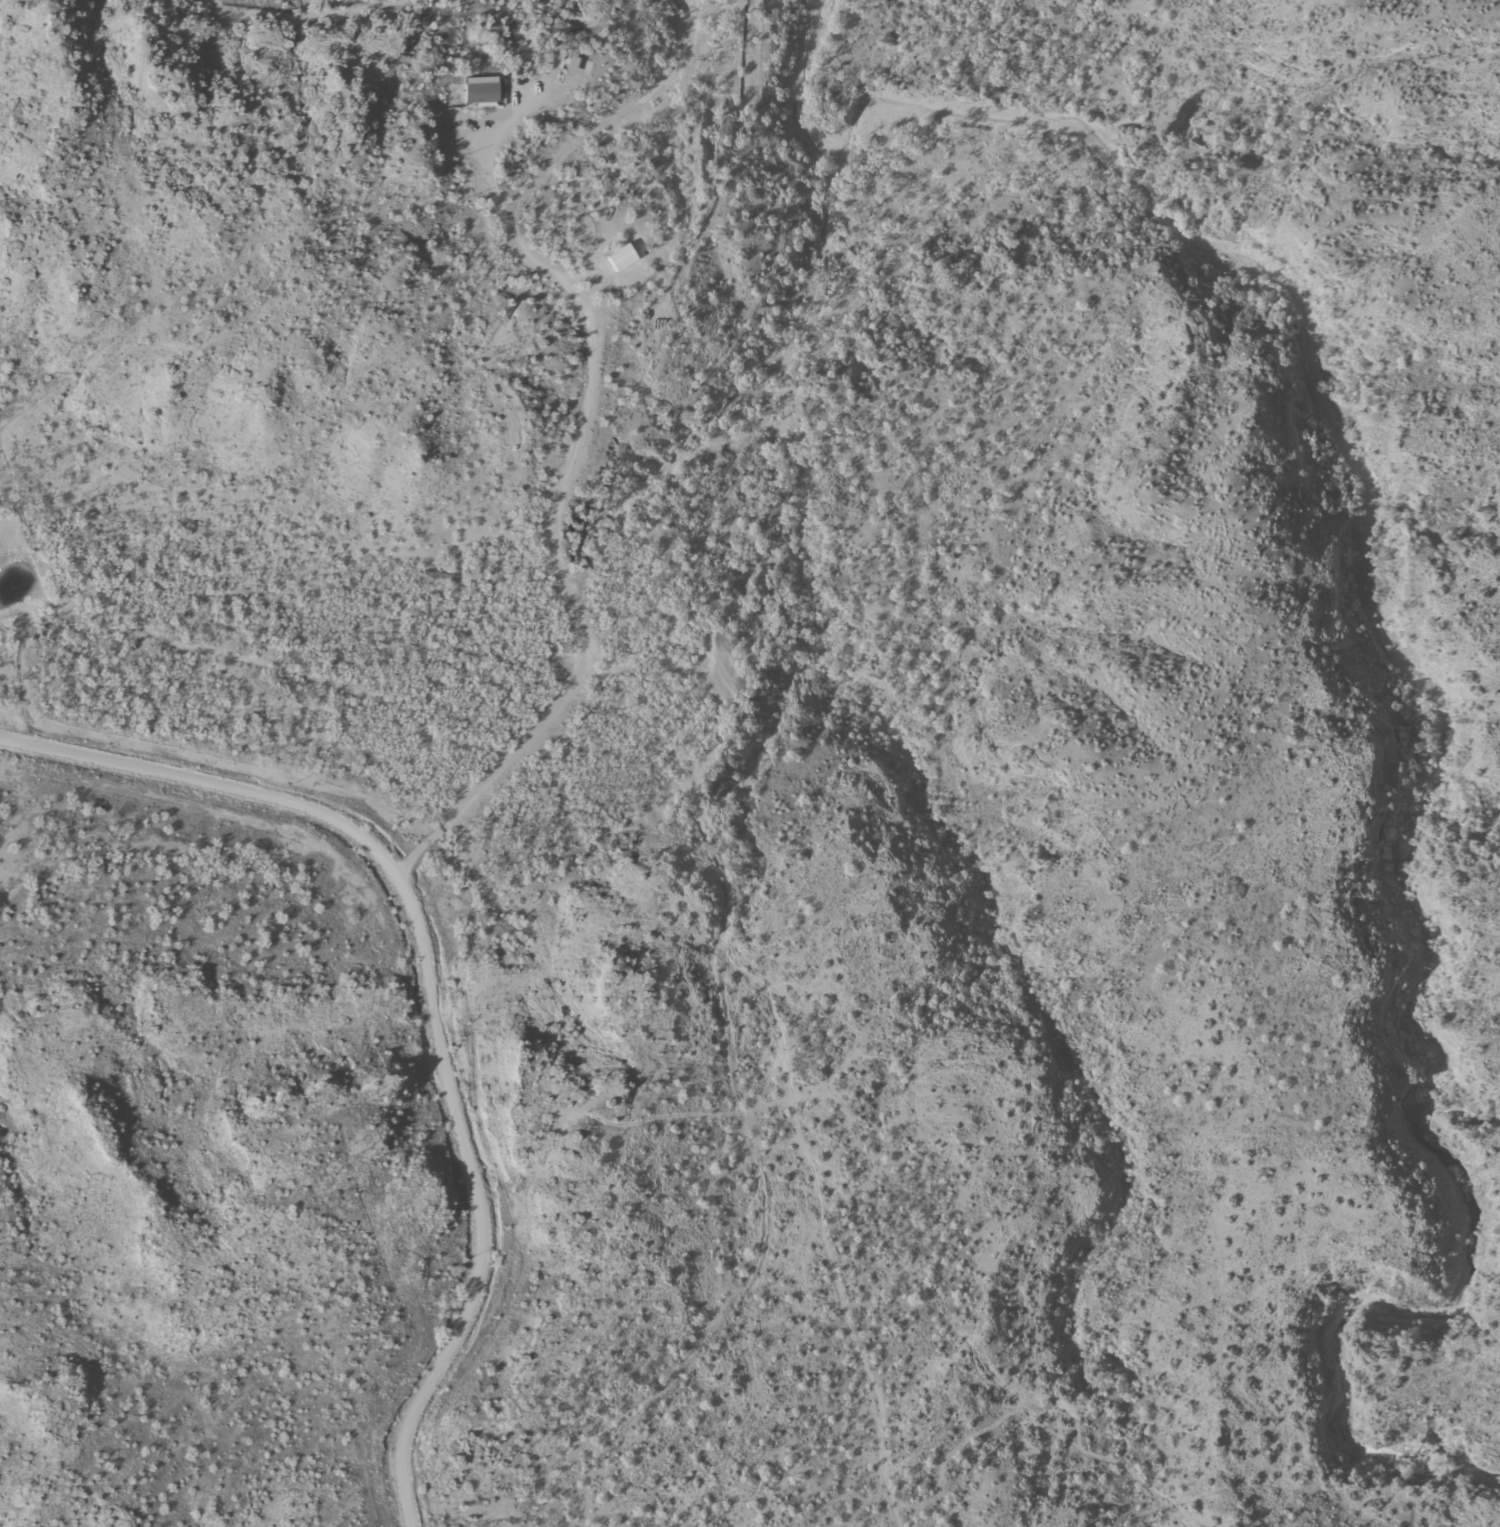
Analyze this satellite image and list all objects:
building: (568, 65)
building: (479, 92)
road: (575, 337)
road: (313, 854)
road: (740, 1123)
road: (457, 1175)

